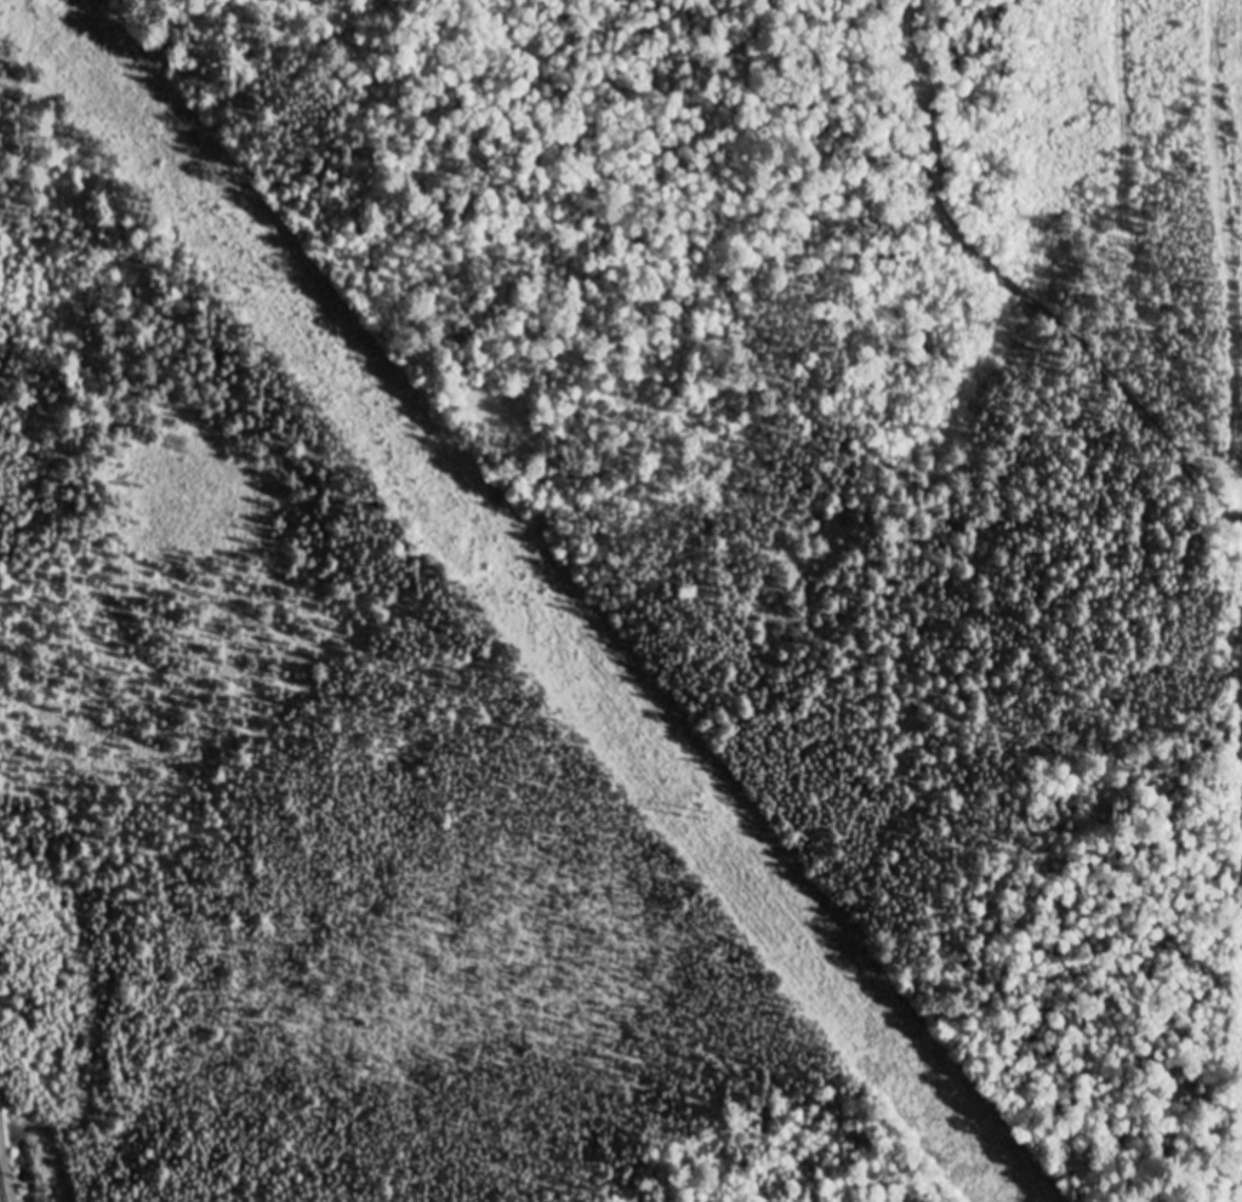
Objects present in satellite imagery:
road: (911, 108)
power tower: (277, 280)
road: (1014, 301)
road: (1163, 452)
power tower: (723, 821)

